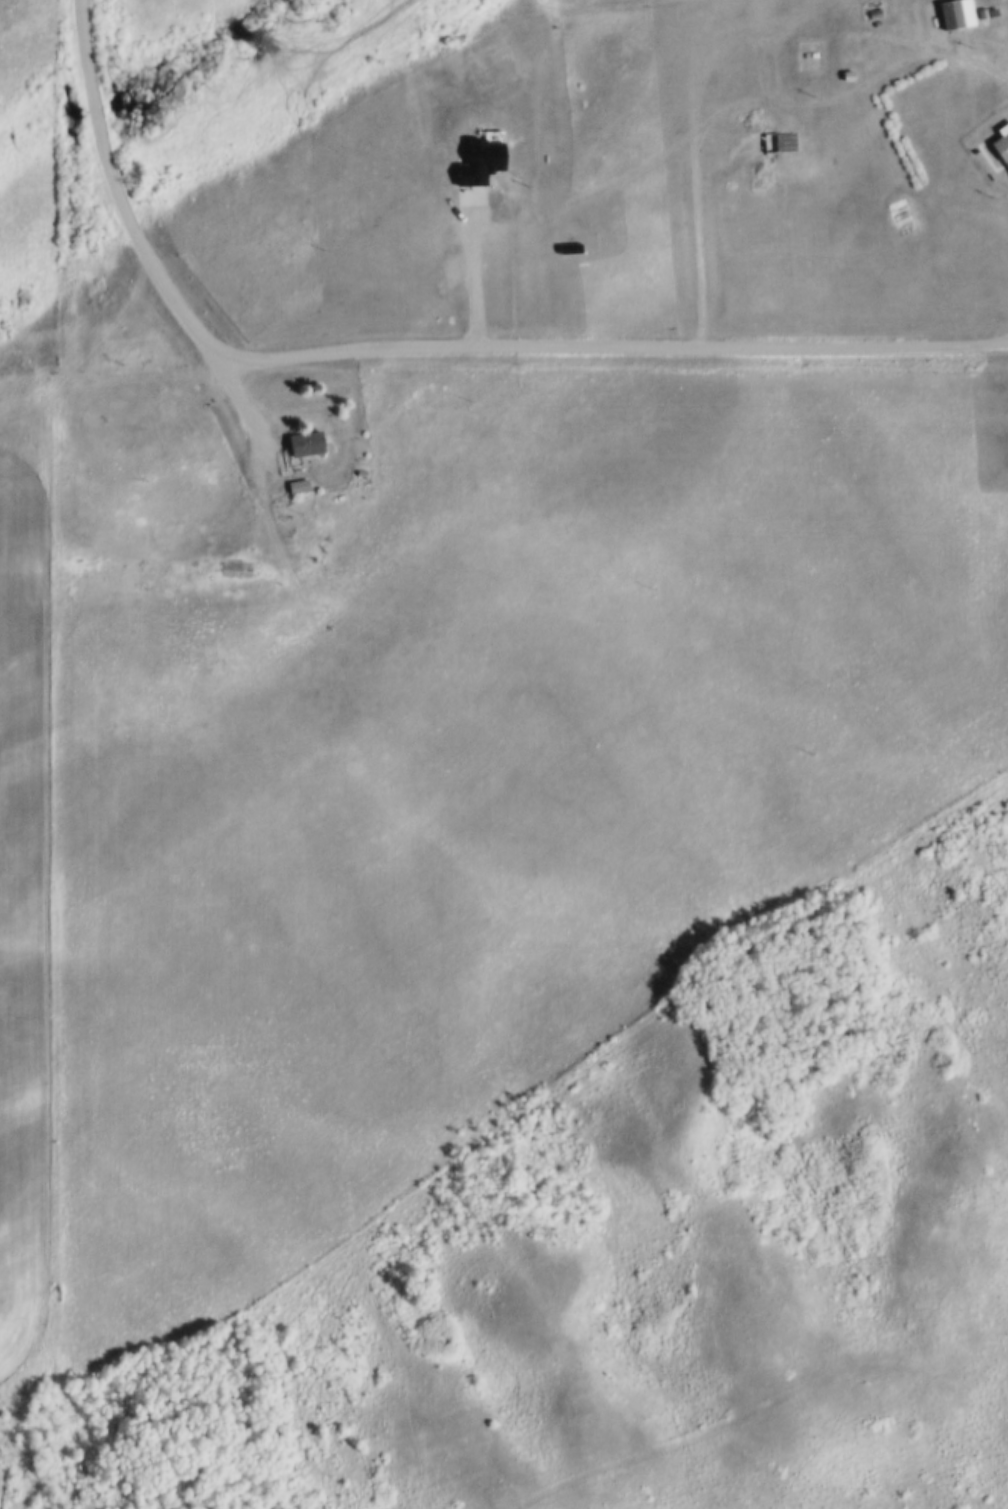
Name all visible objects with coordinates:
building: (994, 9)
building: (983, 10)
building: (950, 12)
road: (987, 62)
building: (780, 139)
building: (1001, 140)
road: (419, 348)
road: (254, 412)
building: (305, 440)
building: (298, 483)
building: (236, 562)
road: (29, 843)

